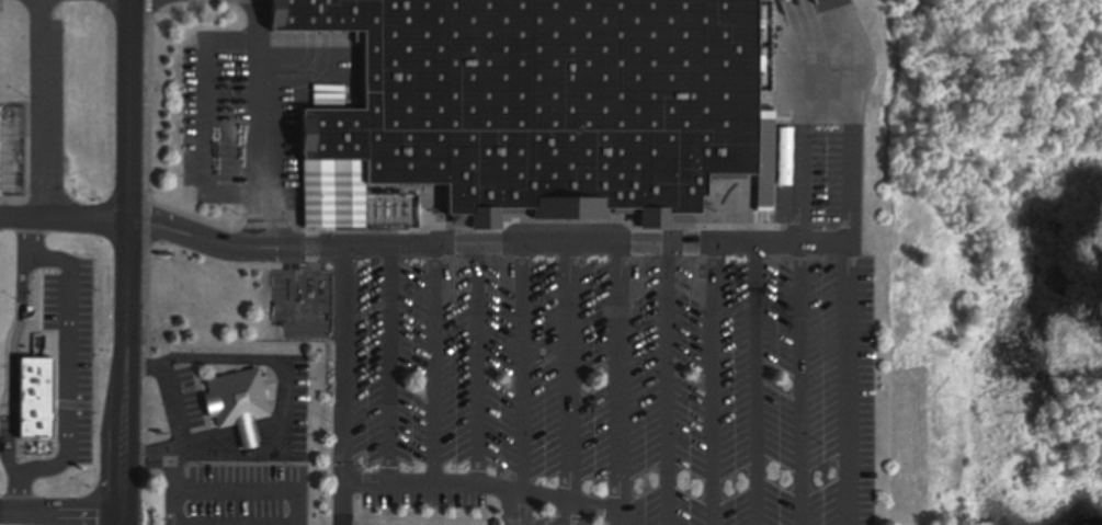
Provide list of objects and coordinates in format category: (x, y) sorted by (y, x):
building: (538, 101)
parking lot: (57, 106)
road: (39, 109)
road: (849, 118)
road: (211, 122)
road: (261, 123)
parking lot: (236, 124)
building: (11, 152)
road: (802, 152)
road: (66, 219)
road: (737, 244)
road: (236, 249)
road: (130, 262)
road: (298, 308)
road: (246, 357)
road: (393, 365)
road: (435, 365)
road: (481, 366)
parking lot: (620, 368)
road: (524, 369)
road: (572, 373)
road: (623, 377)
road: (671, 385)
road: (715, 385)
road: (759, 385)
road: (804, 385)
building: (232, 403)
road: (173, 406)
road: (243, 433)
road: (181, 448)
road: (242, 455)
road: (343, 471)
road: (234, 490)
parking lot: (237, 497)
road: (343, 503)
road: (580, 503)
road: (173, 505)
road: (571, 513)
road: (64, 516)
road: (192, 524)

